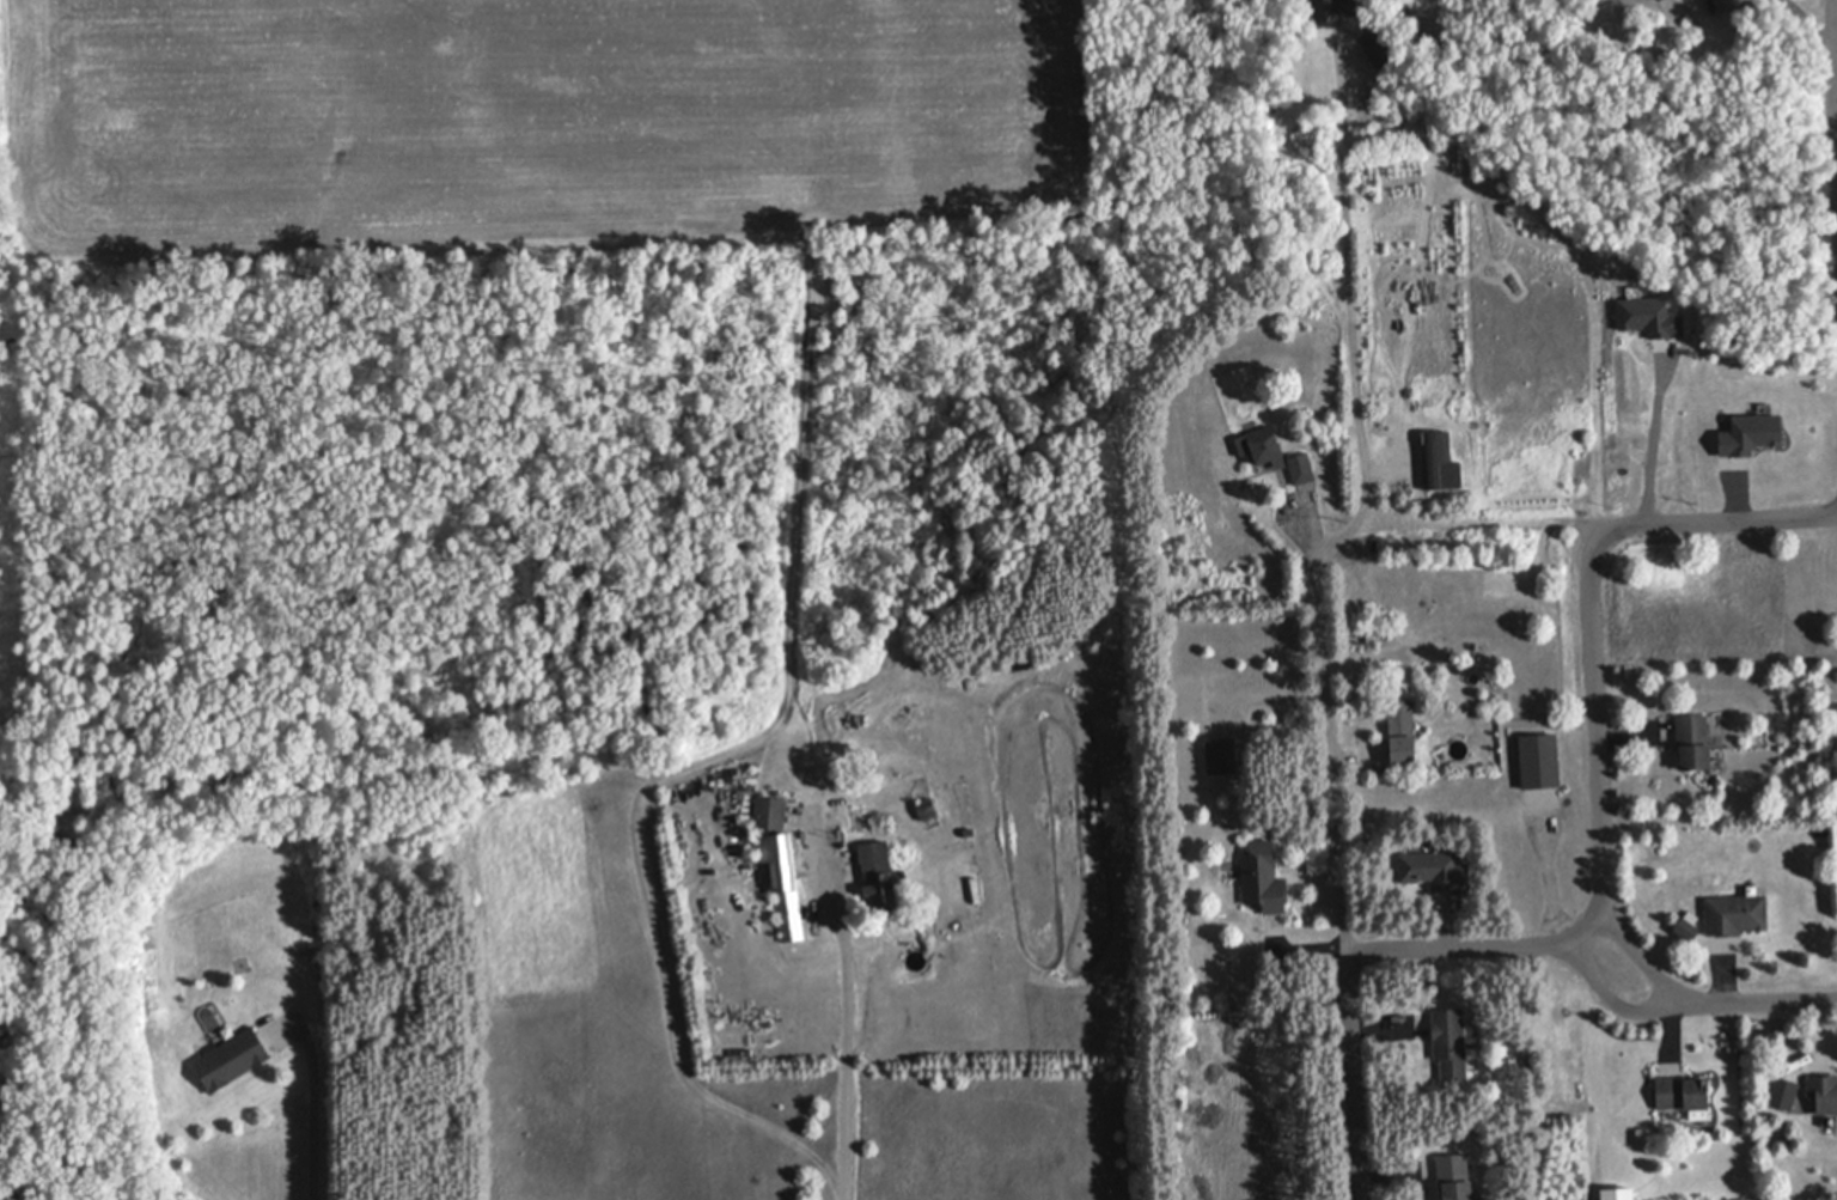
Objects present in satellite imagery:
building: (1329, 8)
building: (1380, 47)
road: (1836, 47)
building: (1646, 317)
building: (1745, 434)
building: (1263, 445)
building: (1440, 459)
building: (1301, 465)
road: (1360, 518)
road: (1485, 524)
building: (1399, 718)
building: (1762, 737)
building: (1693, 742)
building: (1402, 754)
building: (1221, 755)
building: (1539, 759)
building: (926, 806)
building: (771, 811)
building: (970, 830)
building: (779, 855)
road: (1604, 864)
building: (1435, 871)
building: (880, 873)
building: (1263, 881)
building: (1734, 913)
building: (789, 914)
building: (1686, 928)
road: (1616, 1001)
road: (1701, 1003)
building: (1411, 1027)
building: (1451, 1038)
building: (233, 1059)
road: (850, 1068)
building: (1823, 1092)
building: (1683, 1094)
building: (1784, 1094)
road: (318, 1108)
building: (1455, 1177)
building: (1618, 1192)

